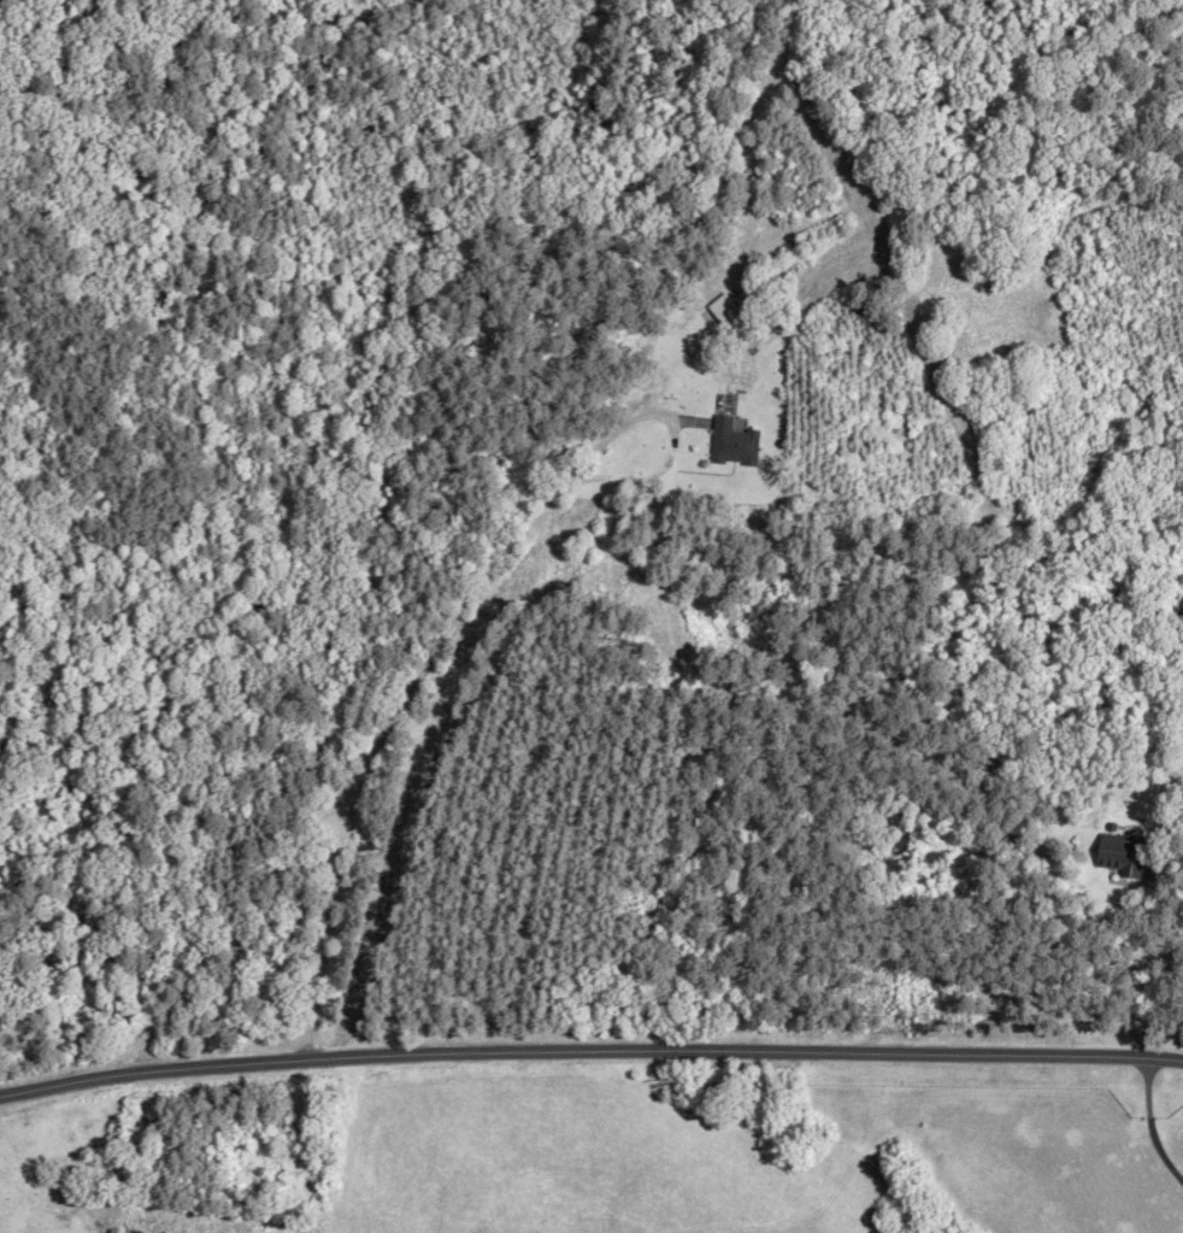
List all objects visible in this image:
building: (724, 310)
building: (730, 444)
building: (1122, 852)
road: (1169, 896)
road: (589, 1050)
building: (58, 1199)

